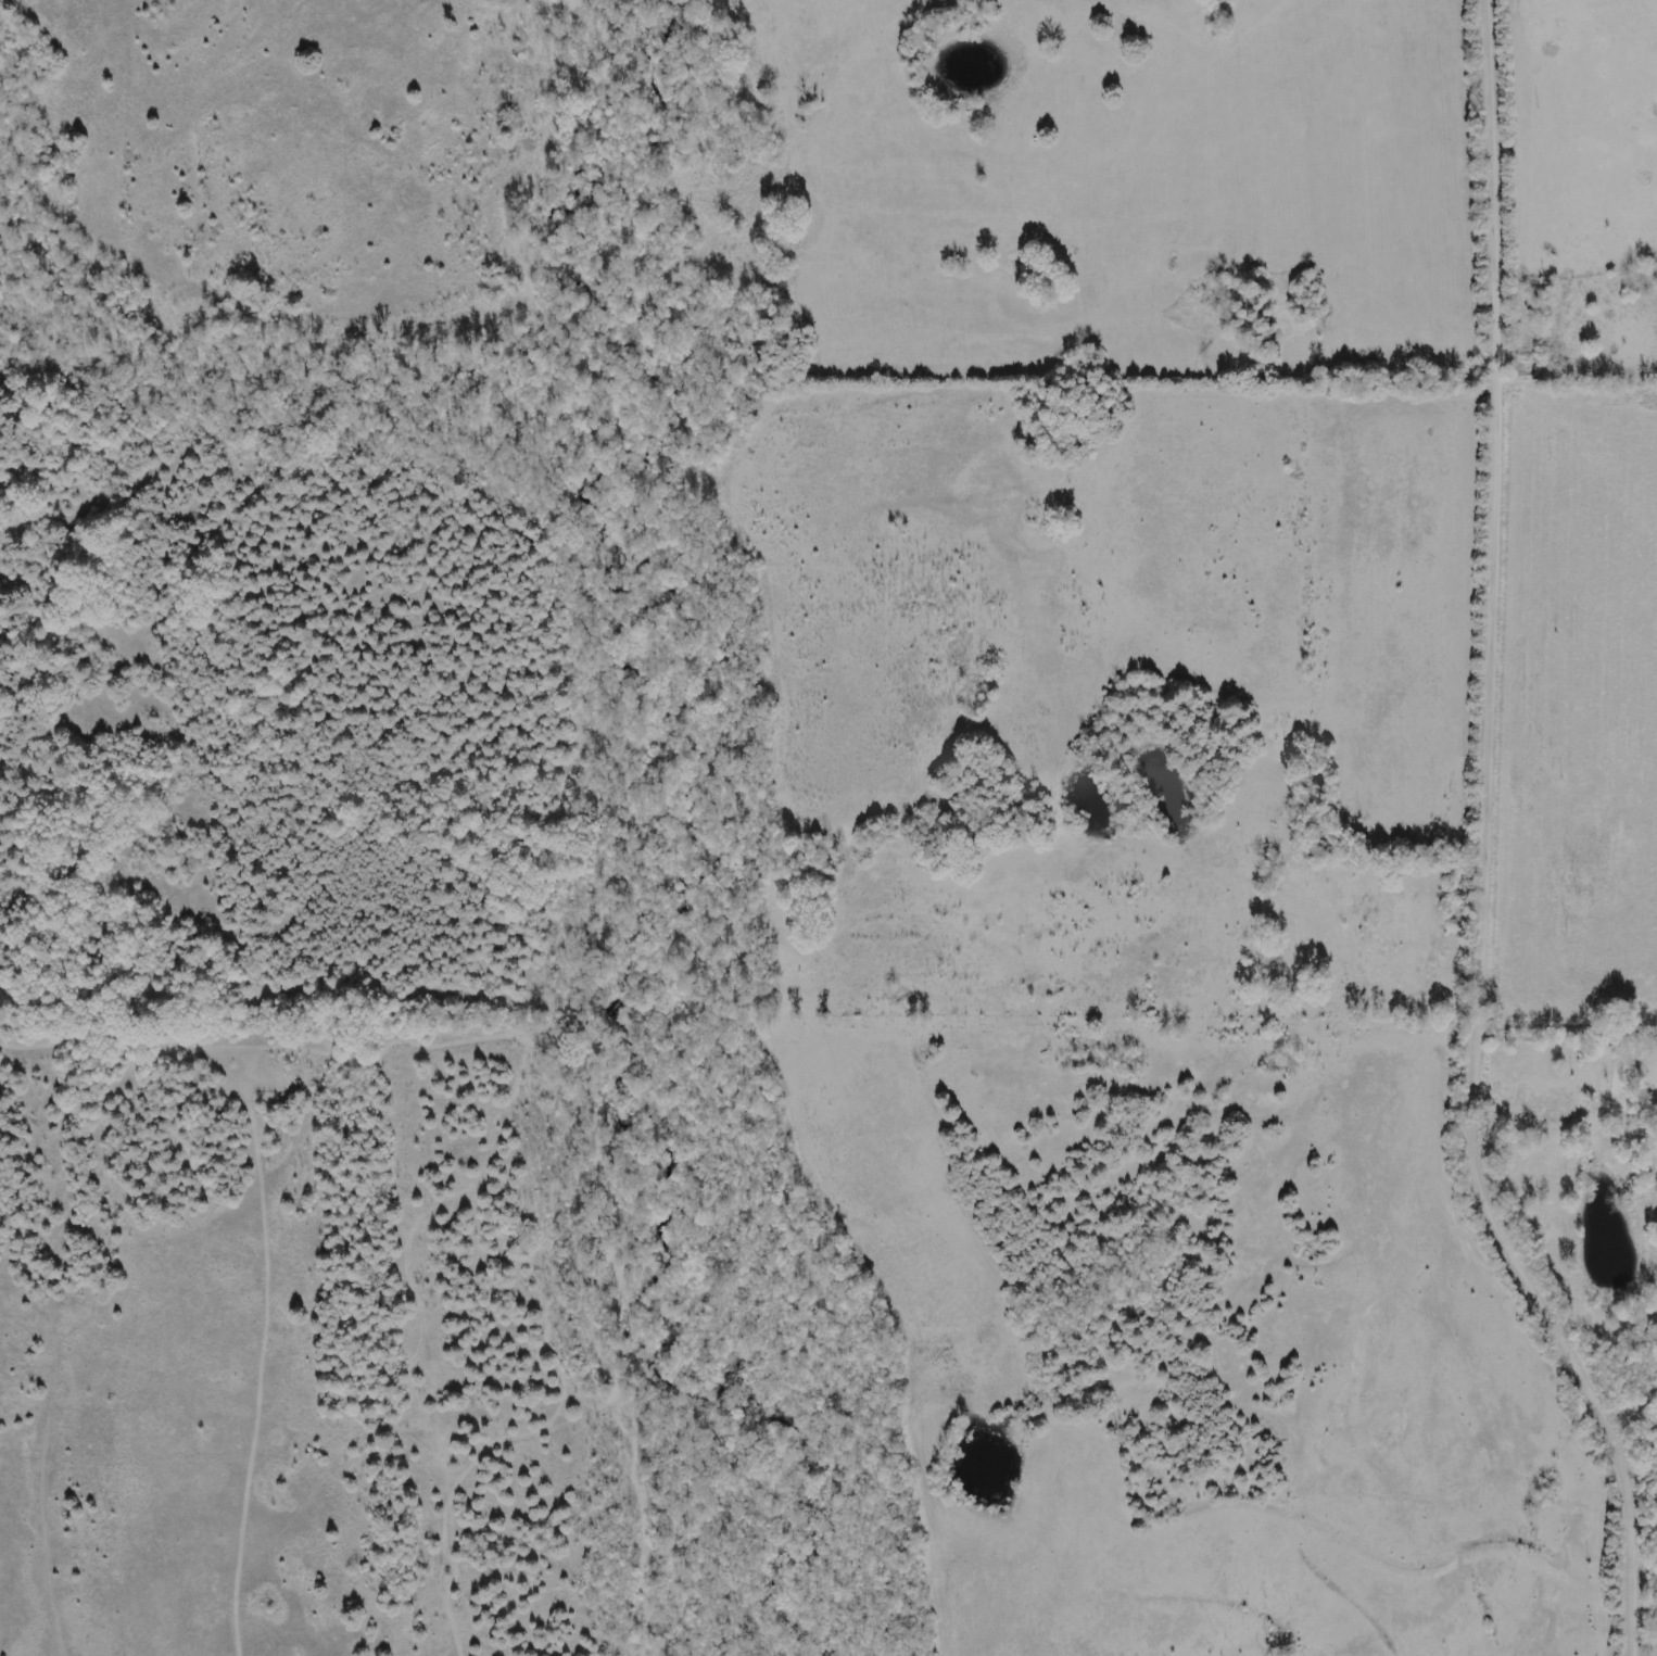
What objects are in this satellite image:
road: (1478, 847)
road: (1567, 1029)
road: (1644, 1593)

